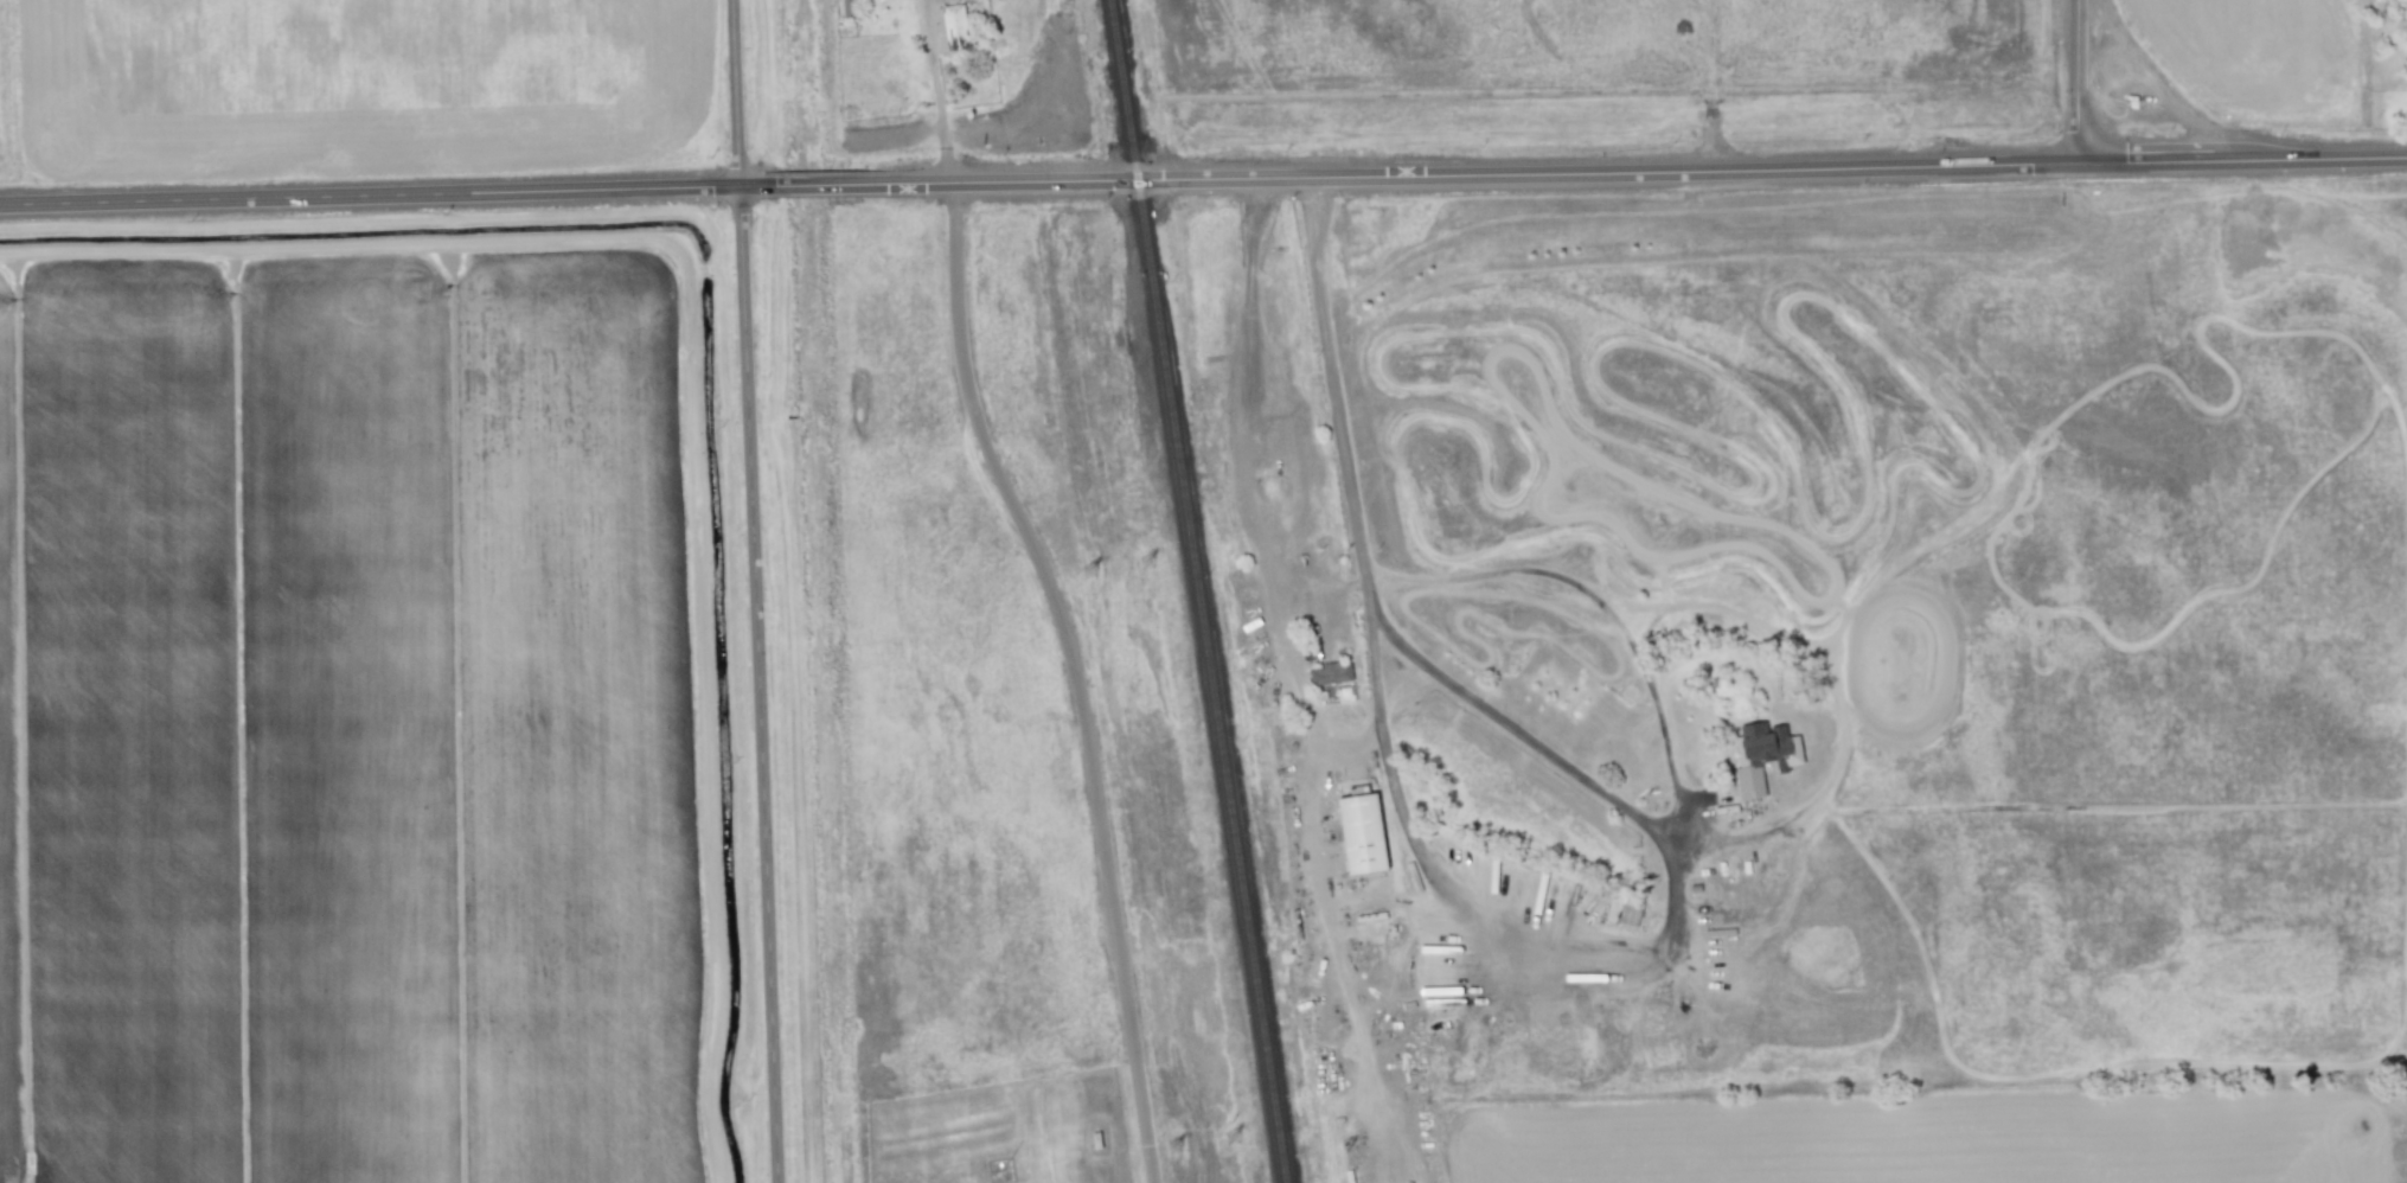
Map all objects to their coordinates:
power tower: (1078, 5)
building: (846, 7)
power tower: (1009, 15)
road: (2078, 82)
road: (1711, 87)
road: (936, 90)
road: (1203, 180)
power tower: (1150, 564)
power tower: (1092, 574)
road: (755, 590)
railway: (1203, 590)
road: (1077, 673)
building: (1329, 673)
road: (1294, 684)
road: (1351, 736)
building: (1762, 755)
building: (1361, 835)
building: (1628, 913)
power tower: (1236, 1140)
power tower: (1177, 1150)

